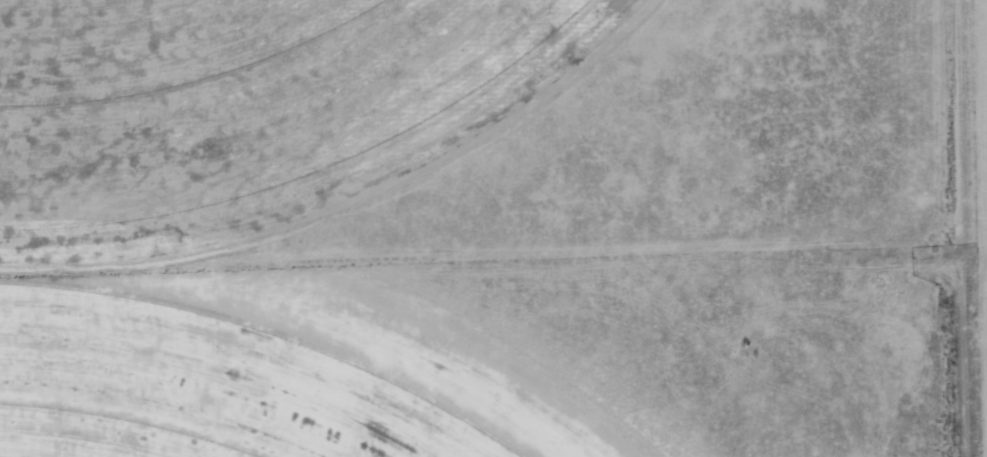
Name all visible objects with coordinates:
road: (961, 228)

